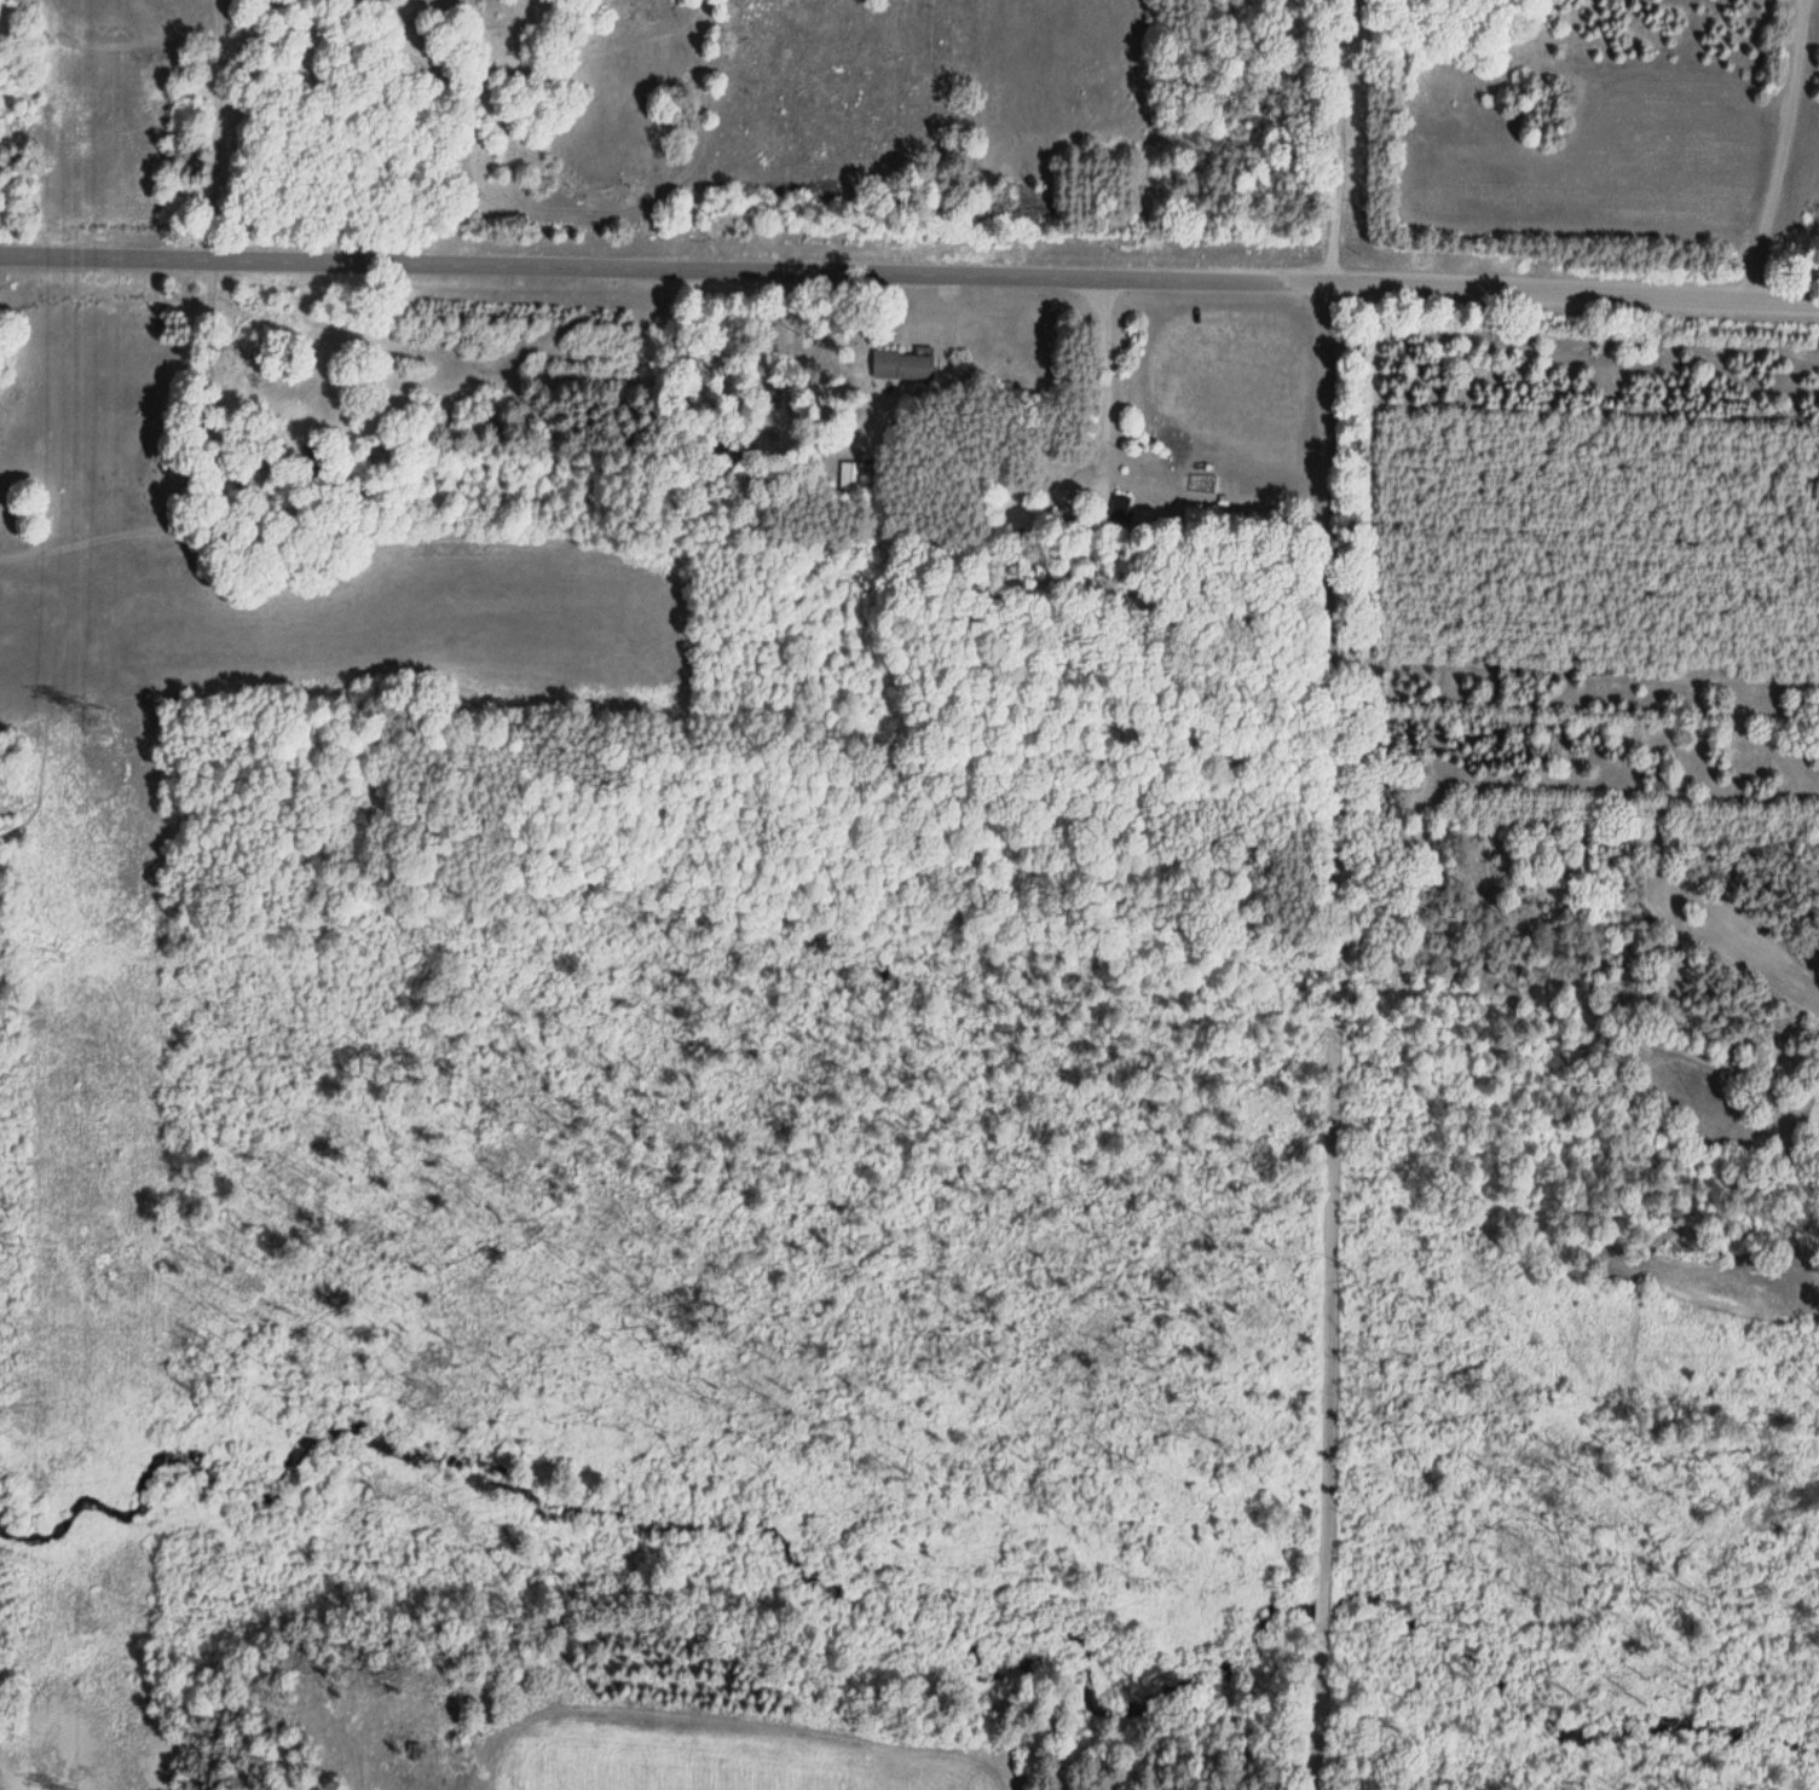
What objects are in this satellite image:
road: (1761, 139)
road: (642, 252)
road: (1552, 271)
building: (899, 365)
building: (255, 369)
building: (853, 474)
road: (0, 506)
power tower: (103, 718)
road: (1330, 894)
road: (1020, 1774)

